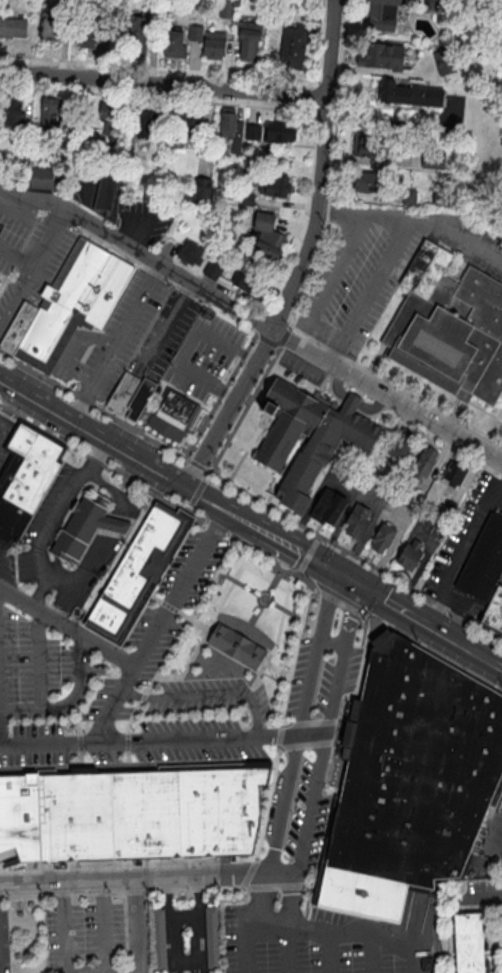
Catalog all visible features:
building: (308, 2)
building: (151, 3)
building: (238, 3)
building: (68, 4)
building: (287, 7)
building: (226, 9)
building: (0, 13)
building: (383, 14)
building: (317, 16)
building: (50, 26)
building: (13, 28)
building: (136, 34)
building: (196, 34)
building: (89, 36)
building: (250, 41)
building: (174, 43)
building: (215, 45)
building: (294, 48)
building: (382, 57)
building: (444, 63)
road: (170, 70)
road: (164, 81)
building: (410, 95)
road: (168, 100)
building: (10, 114)
building: (52, 116)
building: (110, 117)
building: (145, 121)
building: (187, 126)
building: (232, 128)
building: (281, 132)
building: (254, 133)
building: (86, 134)
building: (129, 142)
building: (367, 145)
building: (433, 159)
building: (44, 178)
building: (367, 181)
building: (277, 187)
building: (100, 190)
building: (202, 190)
building: (230, 196)
building: (411, 198)
building: (248, 200)
building: (201, 207)
road: (333, 213)
road: (430, 222)
parking lot: (141, 223)
building: (267, 238)
parking lot: (32, 240)
road: (44, 247)
road: (141, 251)
building: (191, 254)
road: (303, 255)
road: (16, 257)
road: (464, 263)
parking lot: (384, 268)
building: (213, 271)
building: (0, 278)
building: (248, 282)
road: (305, 285)
road: (11, 303)
building: (73, 304)
road: (170, 318)
building: (19, 328)
building: (448, 328)
parking lot: (165, 333)
road: (336, 333)
road: (346, 339)
road: (116, 341)
parking lot: (112, 342)
road: (189, 345)
road: (71, 349)
road: (341, 354)
parking lot: (203, 358)
road: (374, 363)
parking lot: (306, 365)
road: (387, 393)
building: (124, 396)
building: (145, 399)
road: (484, 410)
road: (454, 414)
building: (175, 417)
road: (2, 429)
road: (94, 431)
parking lot: (499, 431)
building: (278, 445)
building: (403, 445)
building: (425, 462)
building: (455, 474)
building: (25, 478)
parking lot: (344, 479)
road: (197, 491)
parking lot: (375, 492)
road: (117, 493)
road: (250, 496)
road: (316, 496)
road: (207, 497)
building: (421, 497)
road: (369, 502)
building: (329, 507)
parking lot: (402, 508)
building: (451, 508)
building: (358, 523)
road: (258, 526)
parking lot: (464, 528)
road: (113, 529)
parking lot: (430, 529)
building: (88, 530)
building: (384, 537)
road: (393, 542)
road: (37, 547)
road: (251, 548)
road: (306, 554)
road: (459, 555)
road: (311, 556)
building: (412, 556)
building: (483, 563)
road: (422, 565)
building: (139, 570)
traffic signals: (344, 575)
road: (346, 576)
parking lot: (500, 578)
road: (281, 588)
road: (263, 600)
road: (266, 600)
road: (396, 606)
road: (439, 611)
building: (494, 611)
road: (178, 613)
park: (242, 629)
road: (178, 635)
road: (448, 635)
road: (331, 644)
building: (237, 645)
road: (472, 649)
road: (142, 654)
road: (39, 660)
road: (492, 660)
road: (187, 664)
road: (274, 669)
road: (128, 678)
parking lot: (119, 686)
road: (131, 694)
road: (217, 694)
road: (69, 703)
road: (301, 720)
road: (329, 723)
parking lot: (314, 733)
road: (78, 735)
road: (280, 735)
road: (291, 736)
road: (150, 741)
road: (126, 742)
road: (52, 745)
road: (126, 759)
road: (77, 767)
building: (410, 781)
building: (255, 796)
building: (238, 811)
building: (218, 812)
building: (171, 813)
building: (194, 813)
building: (137, 814)
building: (49, 815)
building: (85, 815)
building: (20, 819)
road: (492, 839)
parking lot: (488, 851)
road: (245, 859)
road: (284, 871)
road: (133, 876)
road: (435, 882)
road: (103, 890)
road: (168, 890)
road: (62, 891)
road: (292, 893)
road: (11, 897)
road: (259, 897)
road: (479, 900)
building: (31, 905)
road: (183, 913)
building: (21, 915)
road: (265, 922)
road: (138, 924)
road: (411, 929)
road: (347, 931)
road: (34, 935)
parking lot: (86, 938)
road: (105, 938)
road: (64, 939)
building: (213, 939)
parking lot: (5, 941)
building: (160, 941)
parking lot: (305, 943)
building: (470, 943)
road: (245, 947)
road: (287, 948)
road: (328, 951)
road: (369, 953)
building: (19, 957)
road: (184, 961)
road: (133, 971)
road: (117, 972)

